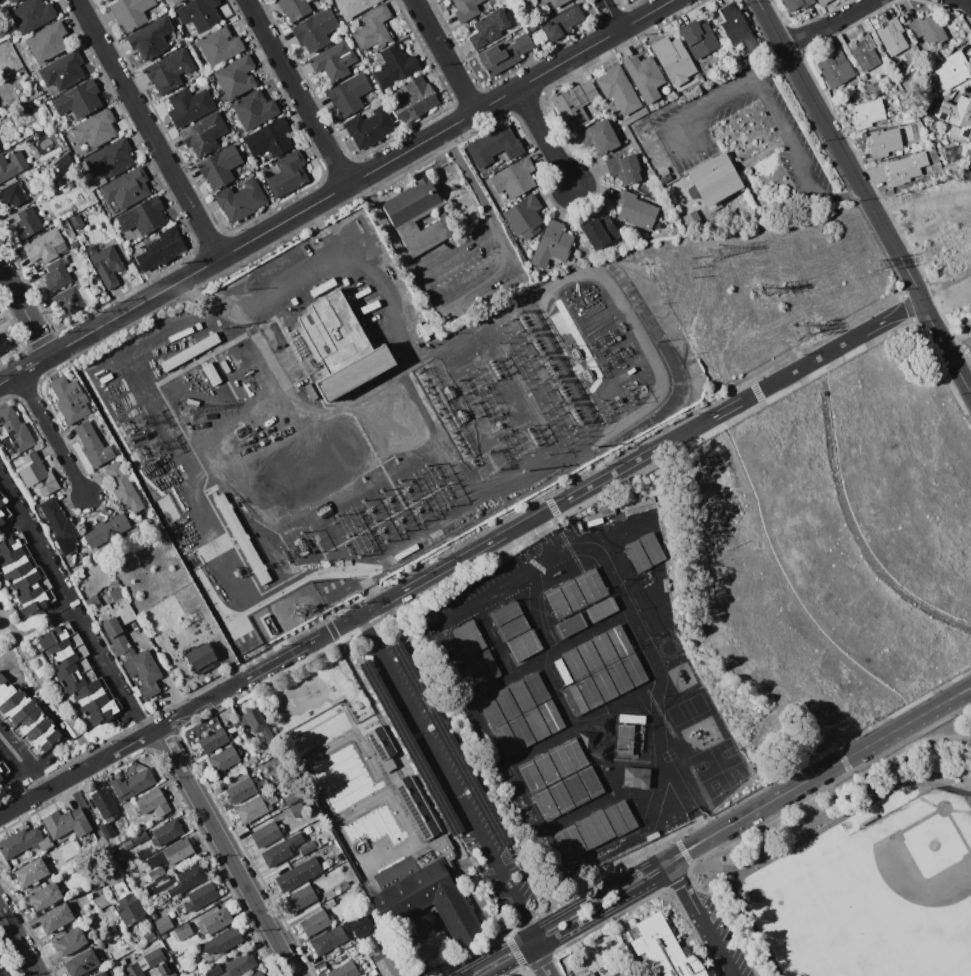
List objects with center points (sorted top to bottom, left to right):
building: (105, 0)
building: (109, 0)
building: (11, 1)
building: (176, 1)
building: (492, 1)
building: (823, 1)
road: (966, 2)
building: (555, 4)
building: (797, 4)
building: (354, 7)
building: (293, 8)
building: (466, 9)
building: (130, 12)
building: (199, 13)
building: (31, 14)
road: (611, 15)
building: (563, 22)
road: (831, 24)
building: (489, 27)
building: (515, 27)
building: (373, 28)
building: (737, 28)
building: (532, 29)
building: (315, 30)
building: (929, 30)
building: (965, 31)
building: (891, 36)
building: (151, 39)
building: (698, 39)
building: (47, 41)
building: (219, 45)
building: (864, 52)
building: (504, 54)
road: (444, 56)
building: (674, 60)
building: (334, 61)
building: (395, 65)
road: (772, 67)
building: (835, 68)
building: (951, 69)
building: (62, 71)
building: (169, 71)
building: (236, 77)
building: (644, 77)
building: (863, 77)
building: (618, 89)
road: (297, 92)
building: (348, 94)
building: (78, 99)
building: (415, 100)
road: (716, 102)
building: (574, 104)
building: (189, 106)
building: (652, 106)
building: (254, 109)
building: (868, 113)
building: (957, 114)
building: (370, 127)
building: (95, 129)
road: (148, 129)
building: (204, 133)
building: (919, 134)
building: (598, 136)
road: (786, 137)
building: (269, 138)
road: (545, 138)
building: (237, 142)
building: (885, 142)
building: (494, 146)
building: (907, 148)
building: (111, 158)
building: (262, 158)
building: (63, 163)
building: (12, 165)
building: (219, 168)
building: (623, 168)
building: (904, 169)
building: (950, 169)
building: (664, 172)
building: (288, 174)
building: (514, 178)
building: (666, 179)
building: (711, 179)
building: (102, 181)
building: (29, 185)
building: (127, 189)
road: (336, 192)
building: (12, 194)
road: (840, 194)
road: (866, 196)
building: (241, 200)
building: (411, 202)
building: (715, 206)
building: (635, 210)
building: (41, 212)
building: (143, 216)
building: (523, 217)
building: (53, 219)
building: (691, 219)
building: (76, 221)
building: (27, 222)
building: (46, 222)
building: (599, 232)
building: (74, 244)
building: (552, 245)
building: (100, 247)
building: (44, 248)
building: (161, 248)
road: (454, 249)
power tower: (716, 252)
building: (105, 264)
power tower: (876, 265)
building: (56, 276)
building: (92, 283)
building: (415, 286)
road: (945, 287)
road: (478, 288)
power tower: (755, 292)
building: (73, 301)
road: (25, 309)
building: (448, 316)
building: (443, 319)
power tower: (802, 331)
building: (4, 344)
power tower: (537, 344)
building: (341, 346)
building: (123, 365)
building: (131, 373)
power tower: (566, 390)
building: (70, 399)
power substation: (437, 399)
power tower: (185, 411)
building: (14, 429)
road: (52, 435)
building: (94, 444)
building: (11, 452)
building: (35, 472)
building: (122, 487)
building: (2, 499)
building: (638, 504)
building: (641, 509)
building: (199, 511)
building: (4, 513)
road: (541, 514)
building: (598, 516)
building: (60, 527)
building: (104, 530)
road: (32, 537)
building: (11, 543)
road: (582, 548)
building: (652, 548)
building: (638, 556)
building: (15, 563)
building: (625, 563)
building: (79, 572)
building: (29, 584)
building: (115, 584)
building: (666, 585)
building: (591, 586)
building: (641, 590)
building: (572, 595)
building: (35, 603)
building: (93, 603)
building: (558, 603)
building: (601, 610)
building: (116, 611)
power tower: (298, 612)
building: (504, 613)
building: (569, 626)
building: (111, 627)
building: (513, 628)
building: (51, 637)
building: (619, 640)
building: (120, 644)
building: (524, 645)
building: (604, 648)
building: (65, 651)
building: (476, 652)
building: (129, 654)
building: (589, 657)
building: (201, 658)
building: (574, 664)
building: (143, 668)
building: (634, 669)
building: (562, 672)
road: (112, 674)
building: (74, 676)
building: (619, 677)
building: (604, 685)
building: (536, 688)
building: (5, 689)
building: (149, 690)
building: (136, 691)
building: (589, 692)
building: (91, 696)
building: (521, 696)
building: (574, 700)
building: (506, 703)
building: (358, 704)
building: (17, 706)
building: (491, 711)
building: (101, 712)
building: (551, 716)
building: (631, 718)
building: (535, 724)
building: (33, 725)
building: (258, 725)
road: (478, 725)
building: (601, 726)
road: (155, 730)
building: (521, 732)
building: (587, 738)
building: (625, 738)
building: (213, 739)
building: (507, 740)
building: (44, 742)
building: (380, 742)
building: (449, 744)
building: (410, 747)
building: (600, 753)
building: (567, 757)
building: (224, 758)
road: (24, 760)
building: (253, 761)
building: (545, 768)
building: (3, 769)
road: (74, 774)
road: (819, 774)
parking lot: (446, 775)
road: (448, 775)
building: (531, 776)
building: (635, 777)
building: (590, 782)
building: (132, 784)
building: (245, 789)
building: (575, 789)
building: (560, 797)
building: (290, 798)
building: (152, 802)
building: (308, 802)
building: (104, 804)
building: (545, 805)
building: (255, 807)
building: (416, 807)
building: (297, 810)
building: (310, 815)
building: (620, 817)
building: (868, 819)
building: (66, 823)
building: (106, 829)
building: (594, 829)
building: (166, 833)
building: (802, 833)
building: (267, 834)
building: (652, 836)
building: (139, 838)
building: (23, 842)
building: (569, 842)
building: (128, 844)
road: (803, 844)
building: (307, 847)
road: (227, 851)
building: (280, 851)
building: (142, 853)
building: (172, 854)
park: (866, 870)
building: (31, 873)
building: (156, 873)
road: (702, 873)
building: (298, 875)
building: (188, 879)
building: (158, 884)
building: (344, 886)
building: (425, 890)
park: (879, 894)
building: (43, 896)
building: (200, 896)
building: (301, 897)
building: (102, 901)
building: (332, 901)
building: (129, 908)
building: (154, 915)
road: (563, 917)
building: (55, 918)
road: (701, 919)
building: (215, 921)
road: (579, 921)
building: (315, 922)
building: (163, 923)
building: (182, 930)
building: (362, 931)
building: (148, 935)
building: (163, 936)
building: (69, 941)
building: (328, 941)
building: (222, 942)
road: (18, 943)
building: (183, 943)
road: (530, 943)
building: (660, 951)
building: (602, 954)
building: (100, 957)
road: (539, 962)
building: (81, 963)
building: (143, 963)
building: (198, 963)
building: (239, 965)
building: (386, 966)
building: (212, 969)
building: (350, 969)
building: (163, 971)
building: (373, 972)
building: (1, 973)
building: (105, 973)
building: (256, 973)
building: (568, 973)
building: (589, 974)

